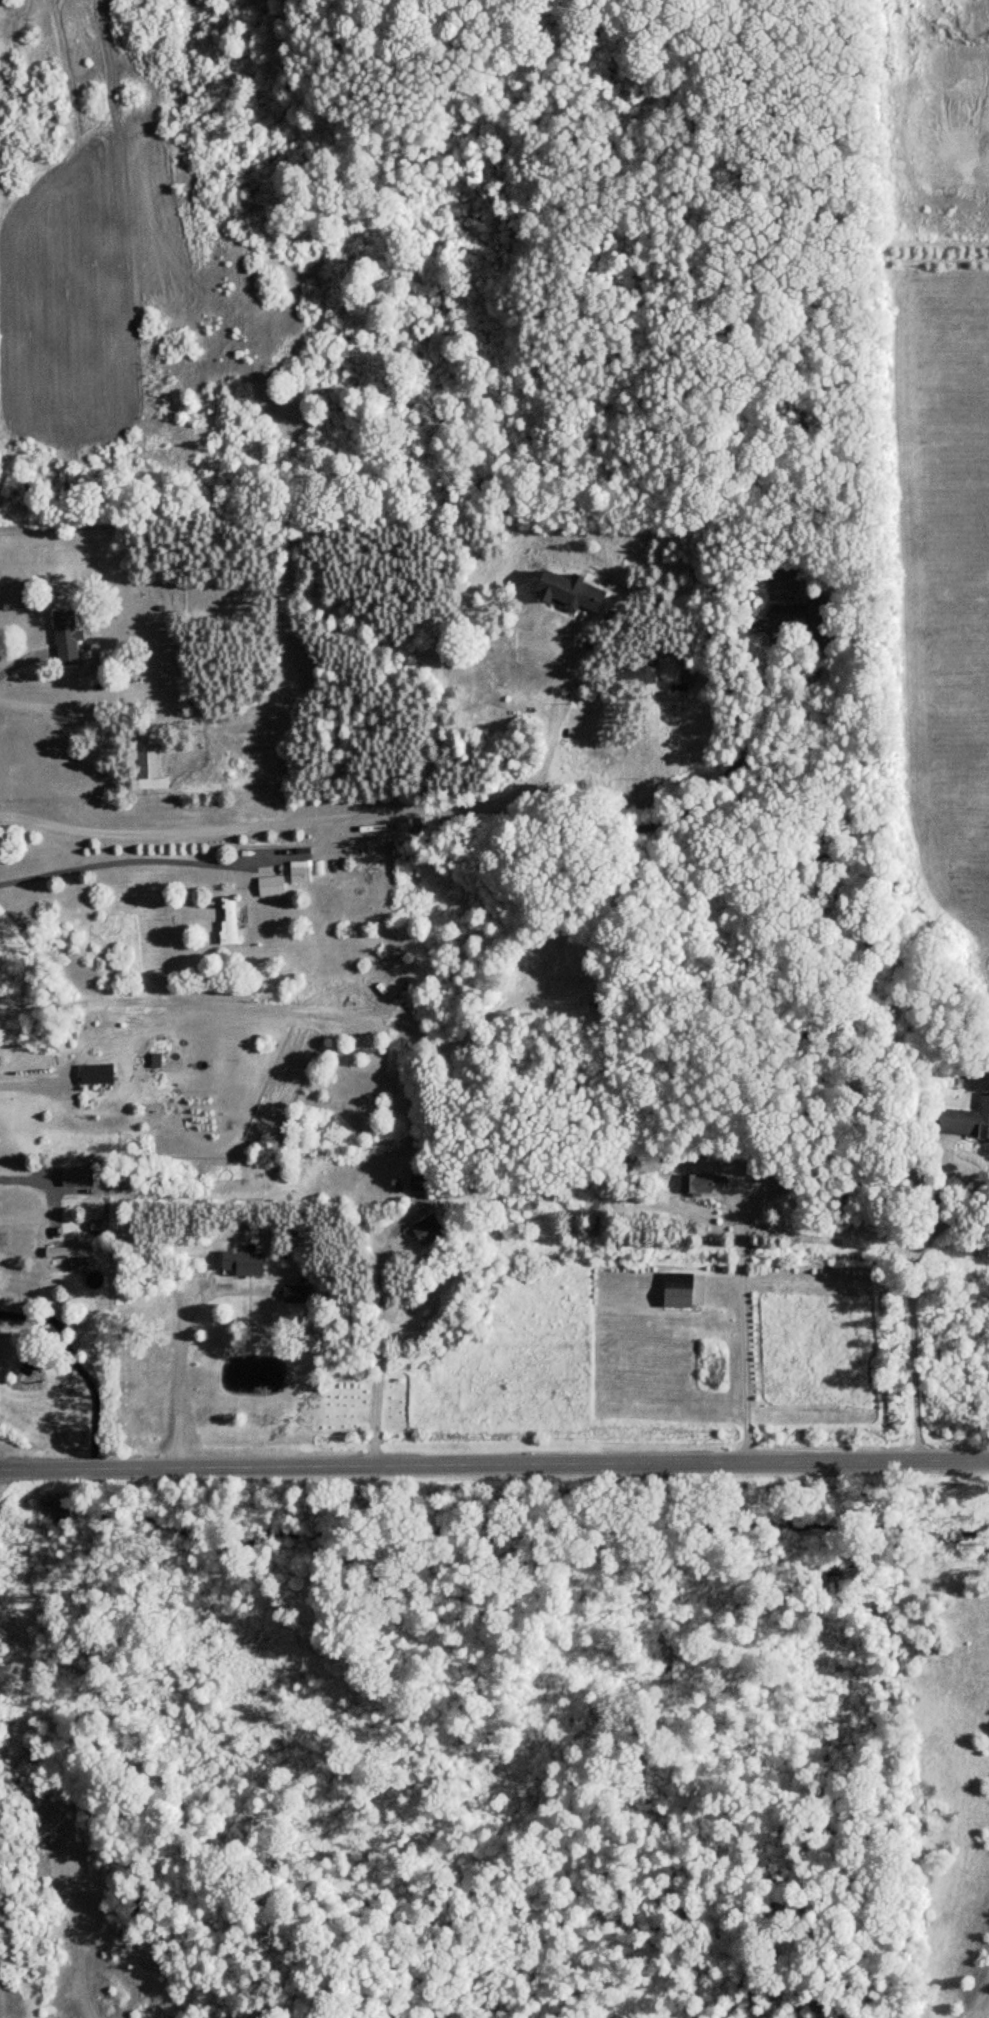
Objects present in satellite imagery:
building: (784, 587)
building: (570, 593)
building: (823, 625)
building: (67, 638)
building: (645, 671)
building: (151, 771)
road: (688, 806)
road: (334, 812)
road: (120, 854)
building: (301, 871)
building: (272, 886)
building: (230, 920)
building: (98, 1074)
road: (37, 1084)
building: (967, 1120)
building: (75, 1176)
building: (421, 1182)
building: (697, 1184)
road: (46, 1194)
building: (429, 1231)
power tower: (1, 1238)
building: (71, 1255)
building: (242, 1264)
building: (679, 1290)
building: (295, 1294)
road: (910, 1299)
road: (739, 1331)
road: (376, 1353)
road: (182, 1359)
road: (555, 1460)
road: (38, 1461)
road: (98, 1461)
power tower: (5, 1562)
power tower: (6, 1937)

